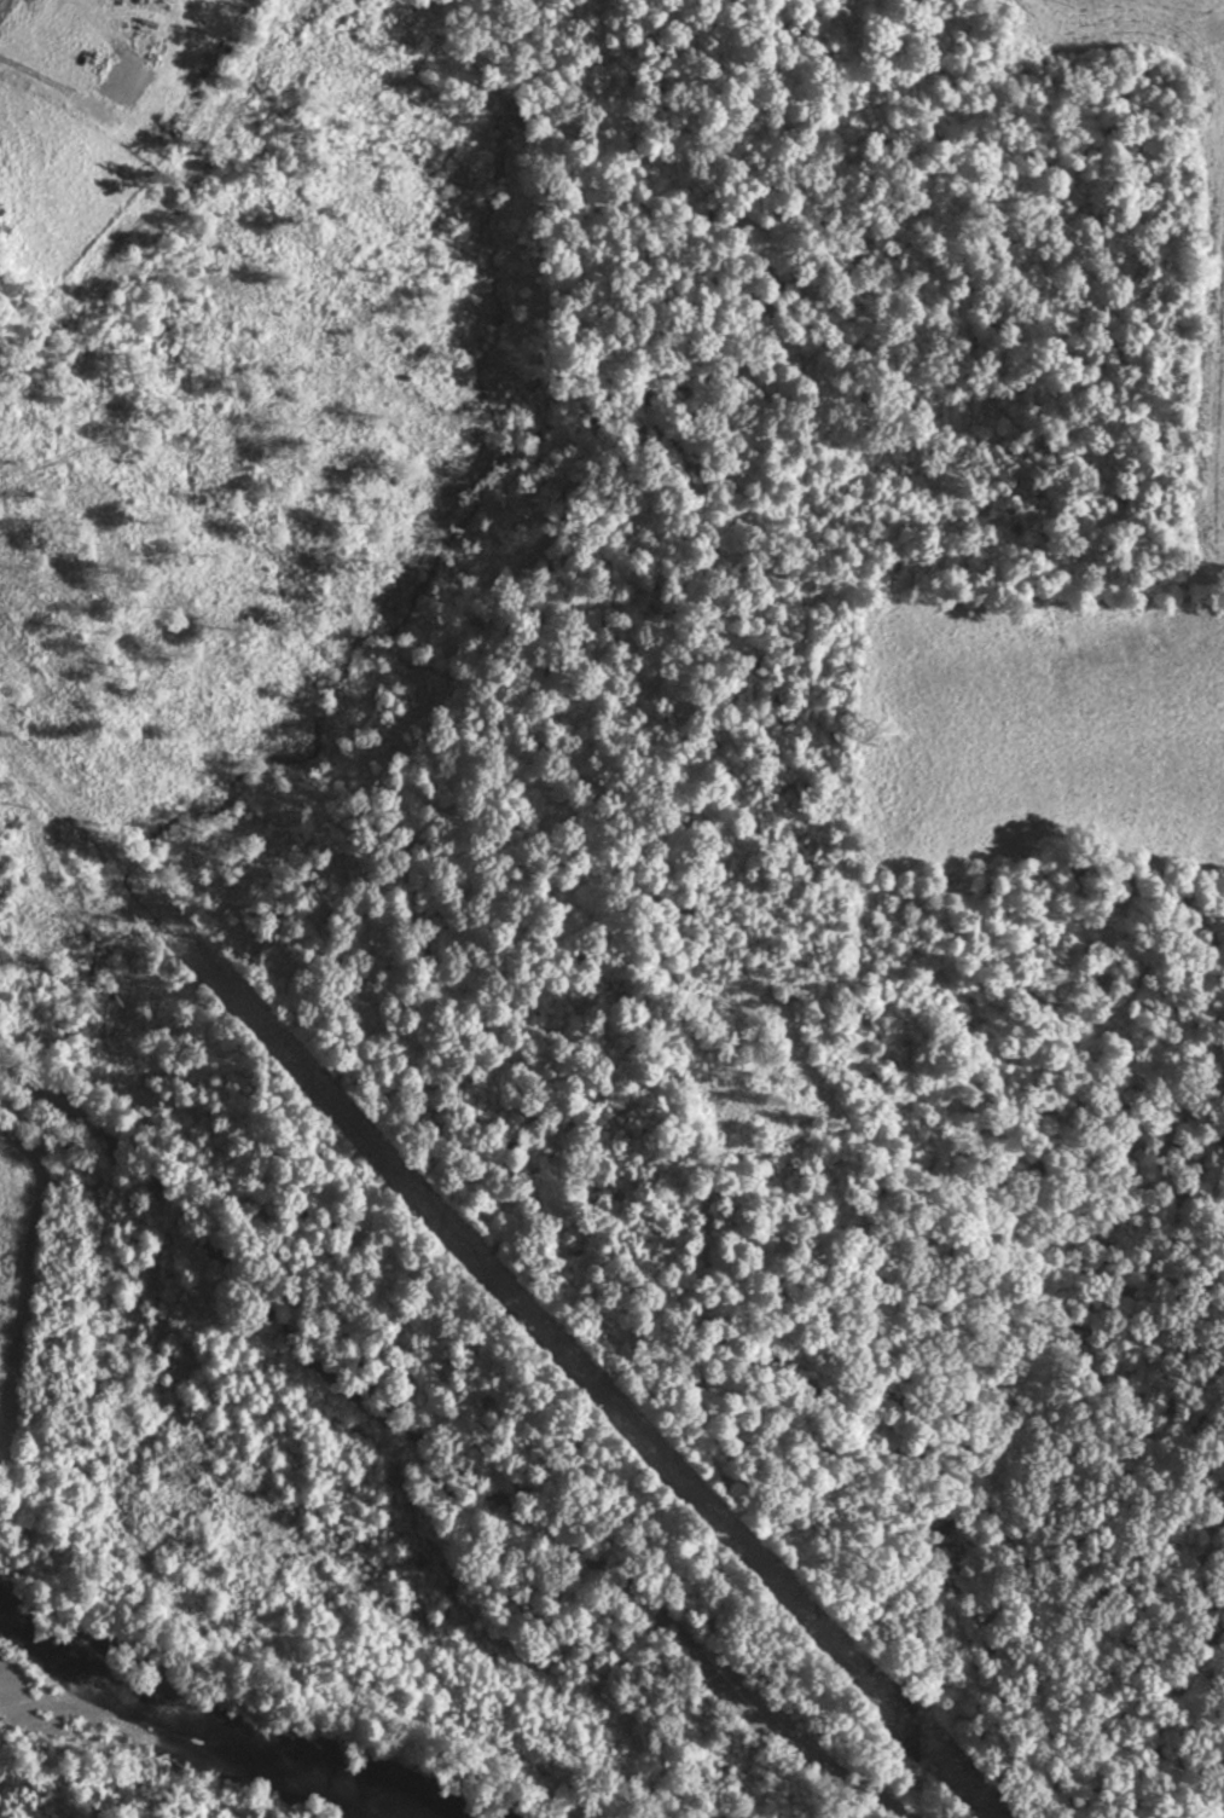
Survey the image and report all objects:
road: (433, 1461)
river: (231, 1739)

